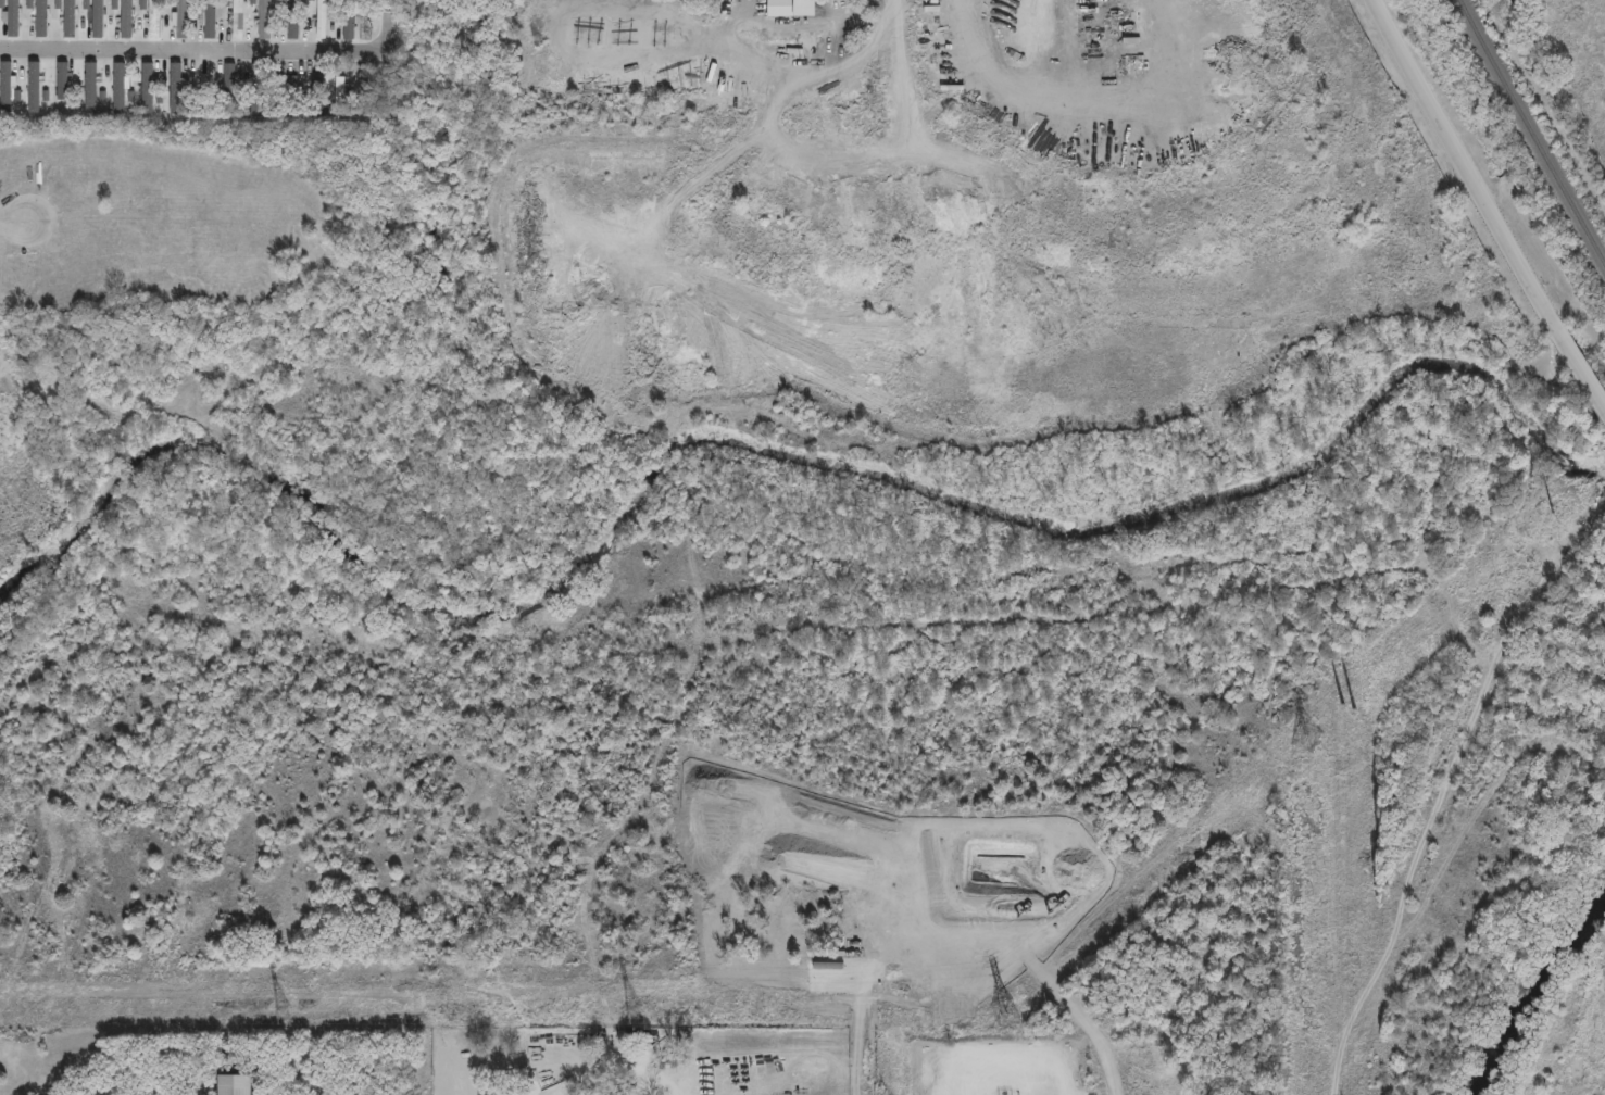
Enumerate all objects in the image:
building: (791, 8)
building: (249, 17)
building: (224, 18)
building: (321, 18)
building: (348, 20)
building: (58, 23)
building: (9, 24)
road: (550, 24)
building: (315, 27)
road: (192, 47)
road: (805, 67)
building: (61, 79)
building: (117, 85)
building: (4, 86)
building: (33, 86)
building: (89, 86)
building: (227, 86)
building: (136, 88)
building: (361, 91)
building: (338, 92)
railway: (1531, 133)
road: (1465, 168)
road: (14, 215)
road: (1581, 377)
power tower: (1553, 512)
power tower: (1343, 703)
power tower: (1307, 735)
river: (1539, 1002)
power tower: (283, 1010)
power tower: (634, 1010)
power tower: (1003, 1011)
building: (231, 1084)

